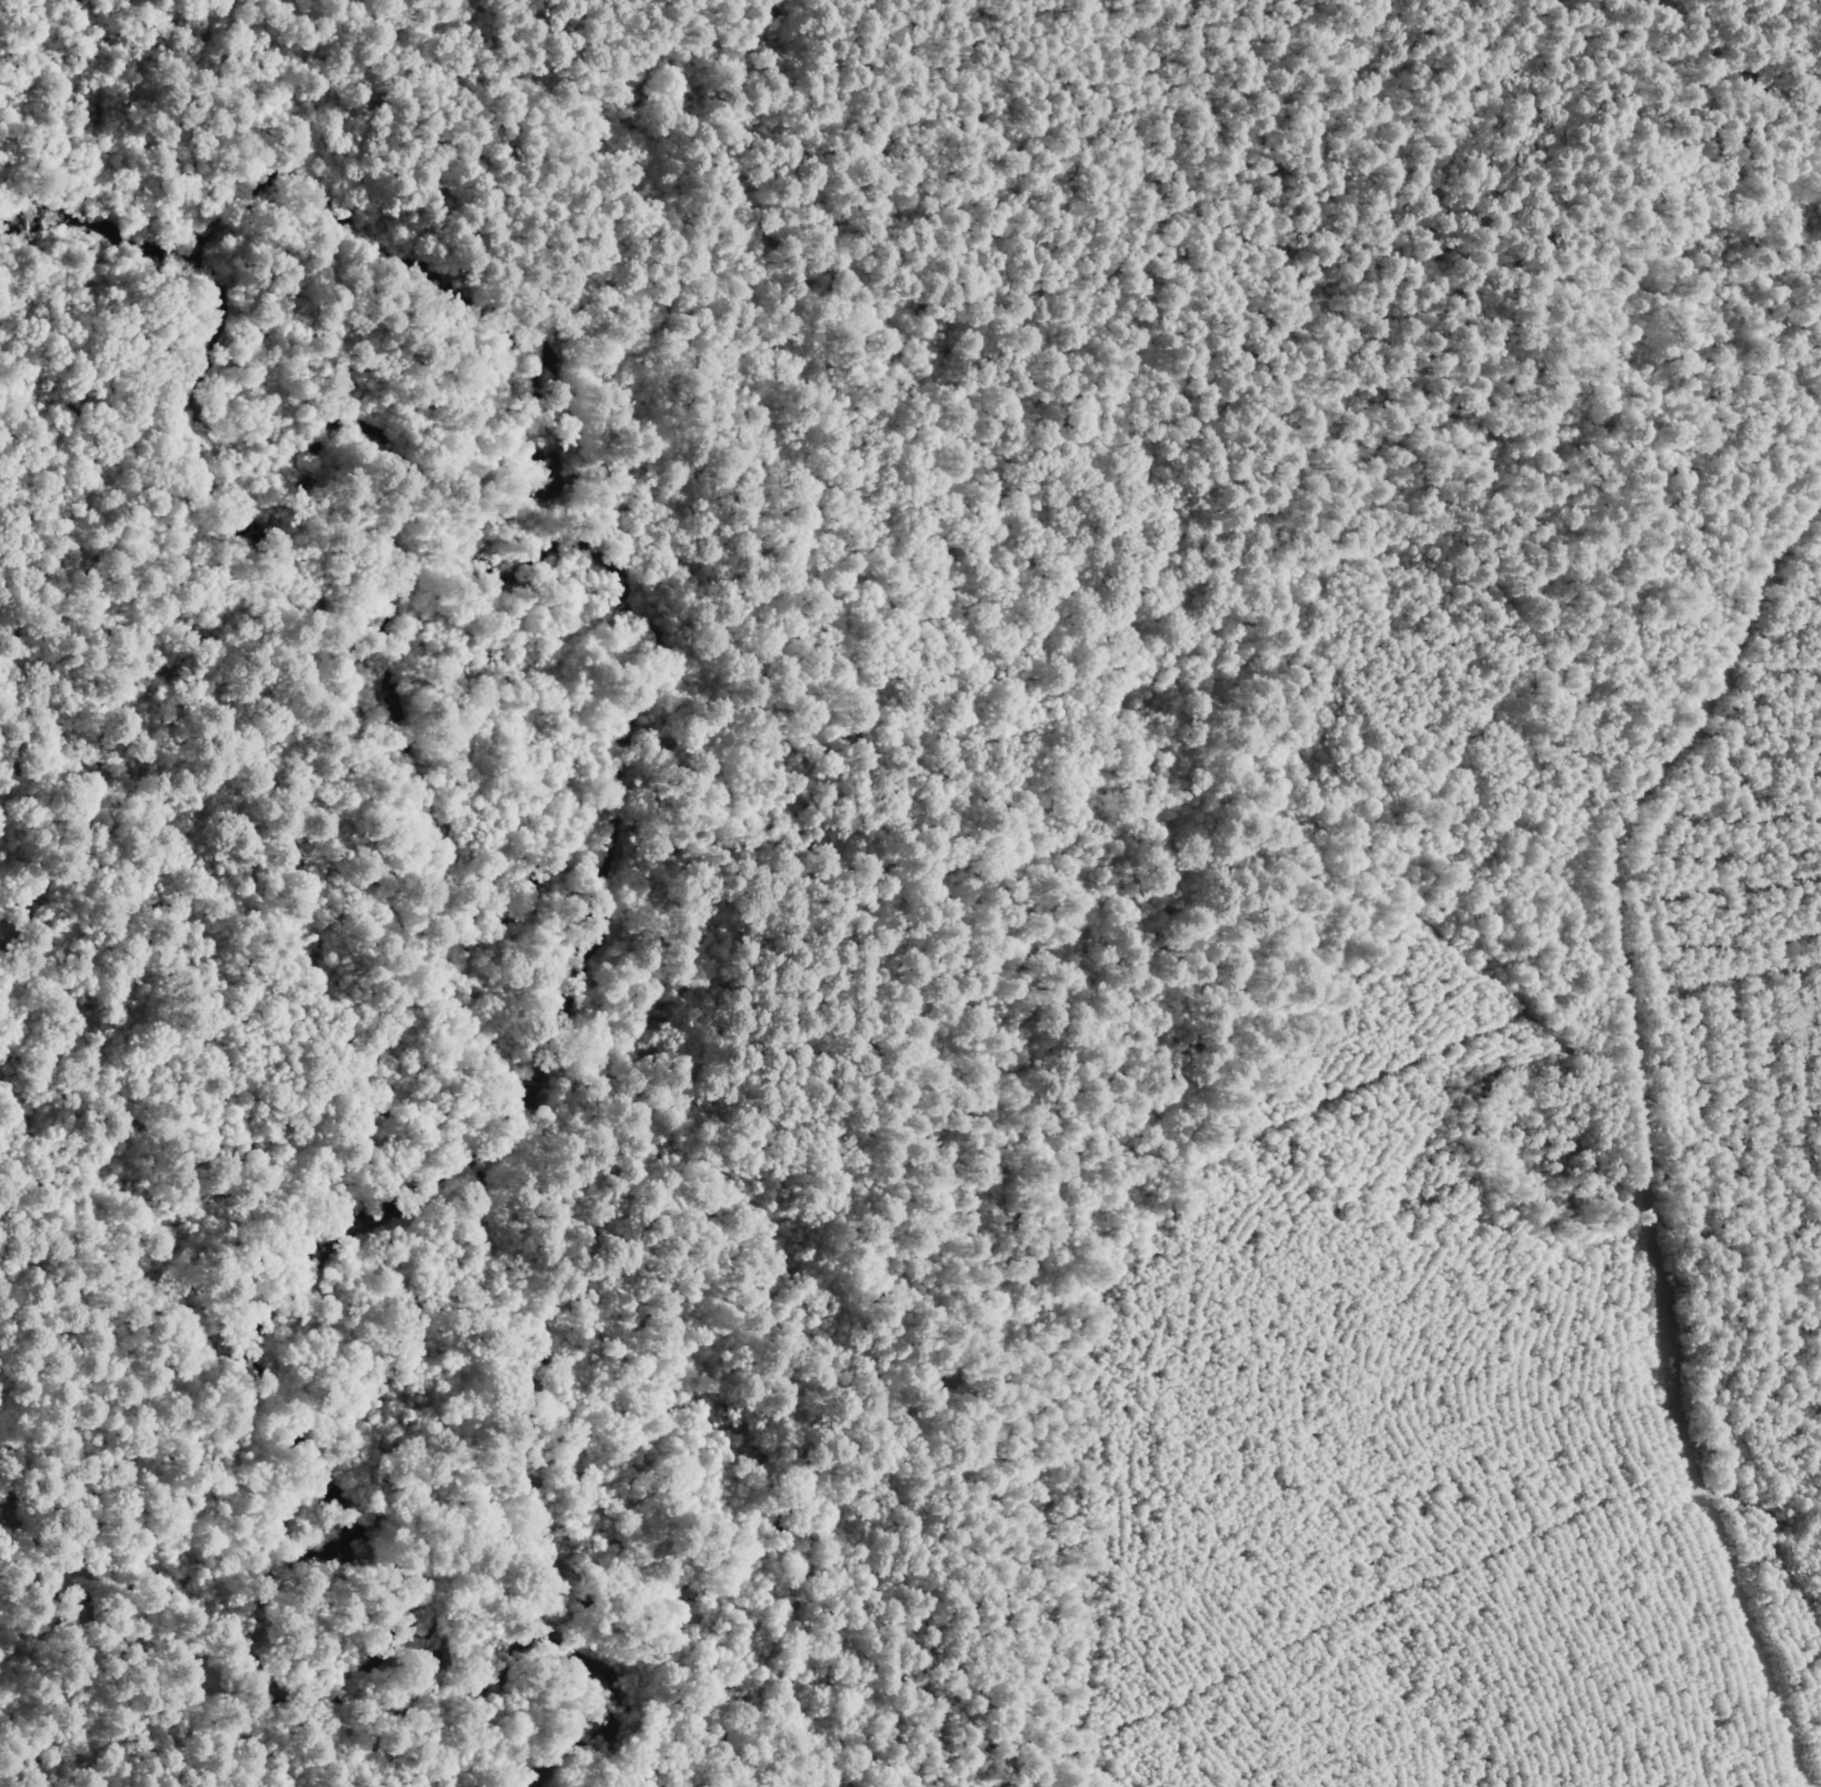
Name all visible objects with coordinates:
road: (1641, 1124)

